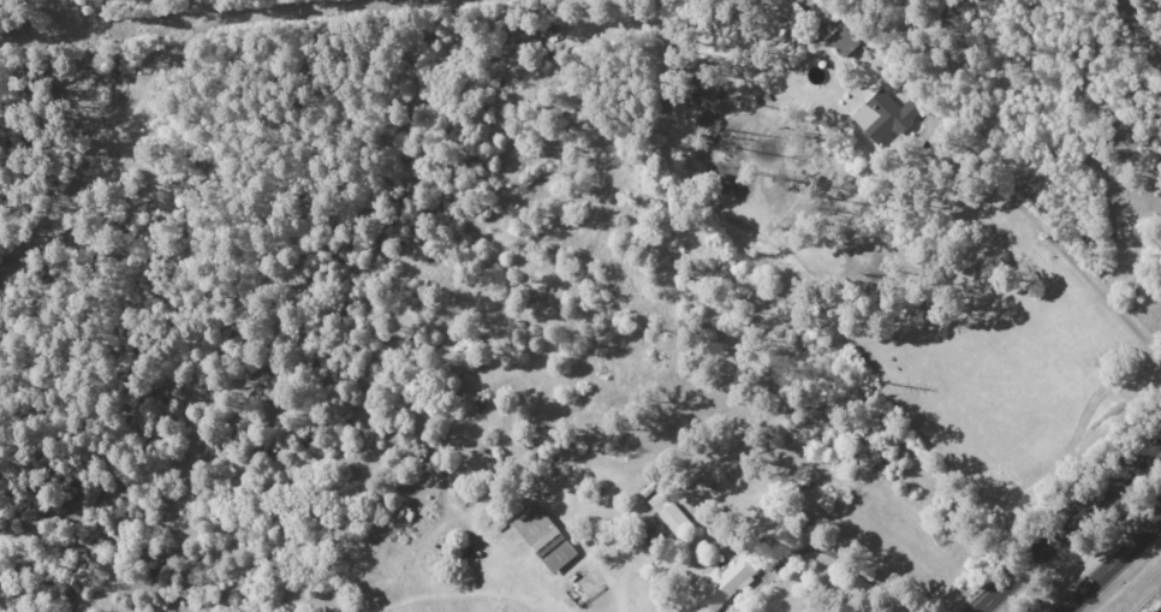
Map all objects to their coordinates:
building: (843, 41)
building: (885, 115)
road: (1050, 234)
building: (675, 519)
road: (1071, 525)
building: (544, 539)
road: (804, 551)
road: (1112, 565)
building: (725, 581)
road: (850, 598)
road: (895, 600)
park: (1151, 602)

